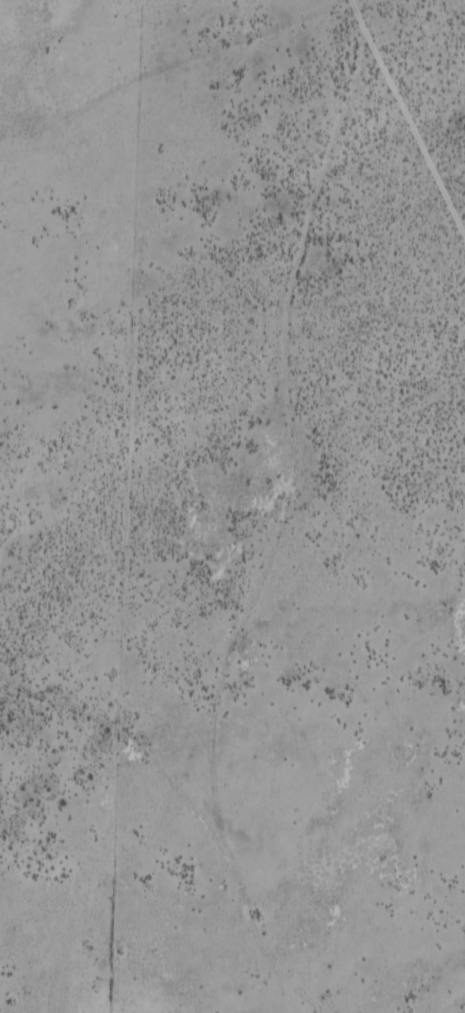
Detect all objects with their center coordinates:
road: (421, 132)
road: (268, 556)
road: (253, 939)

